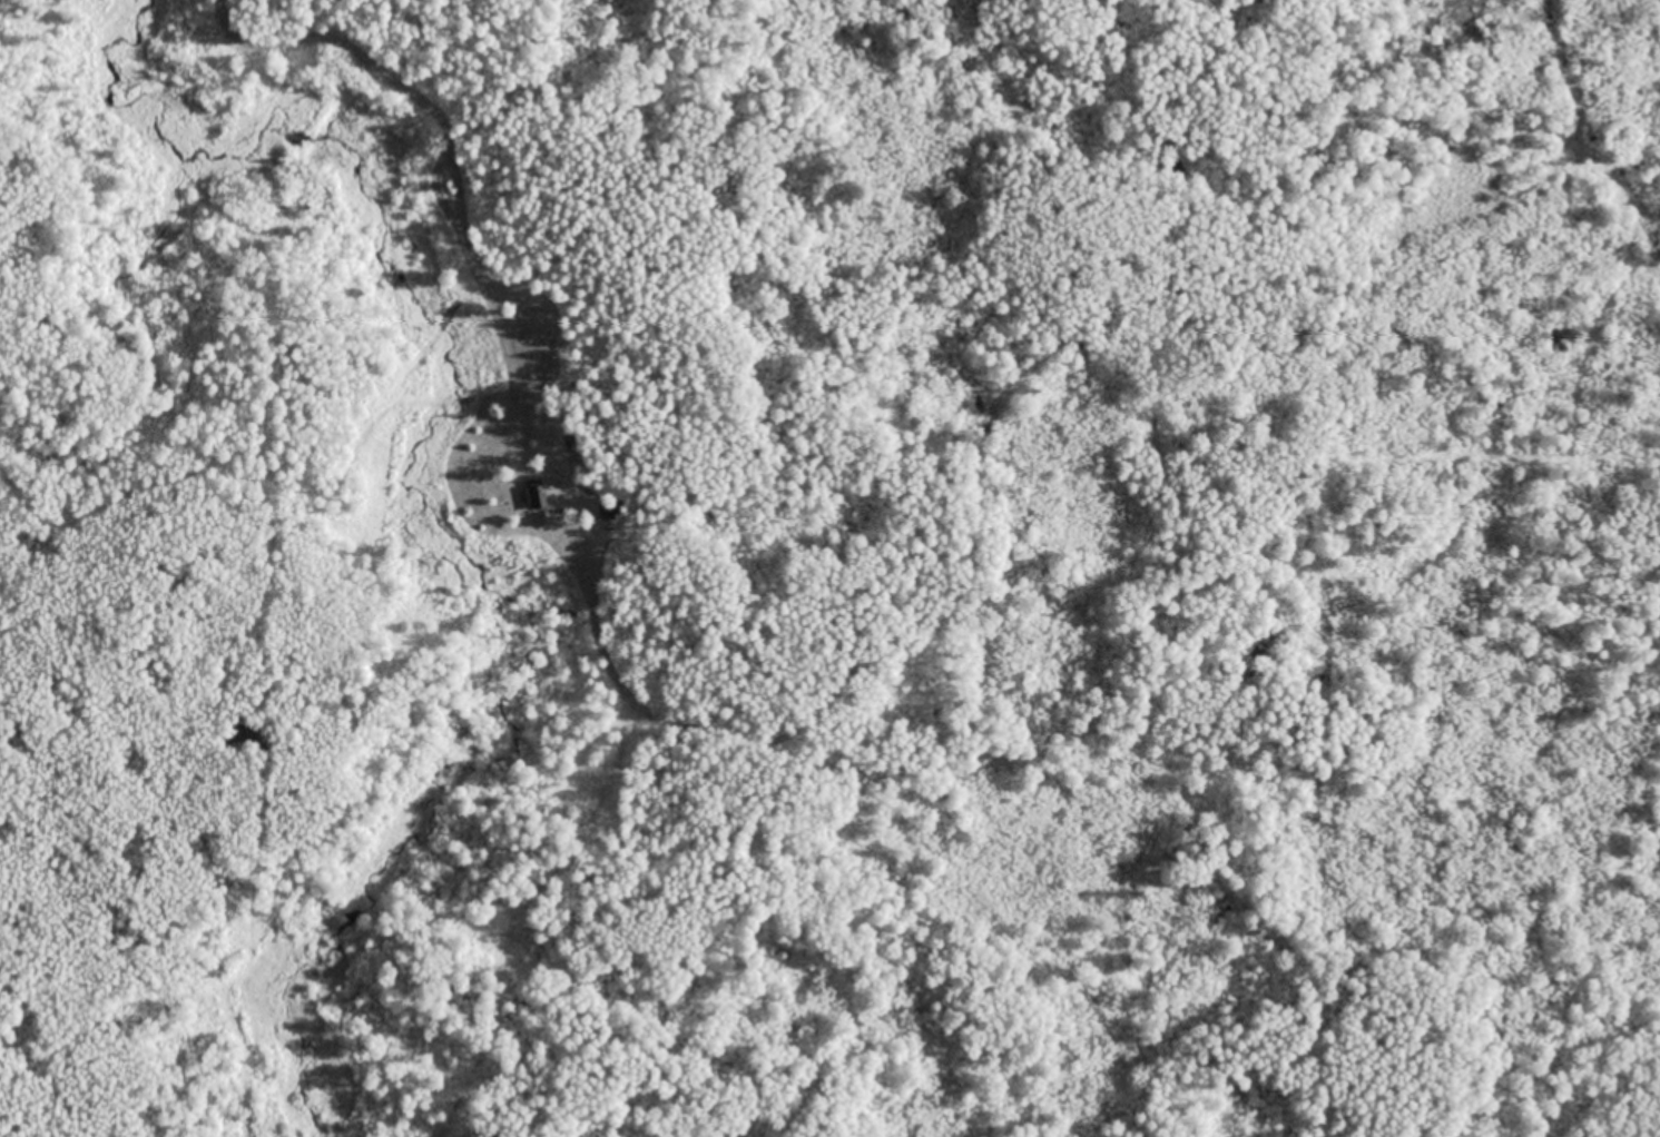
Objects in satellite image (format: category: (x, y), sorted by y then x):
building: (539, 500)

